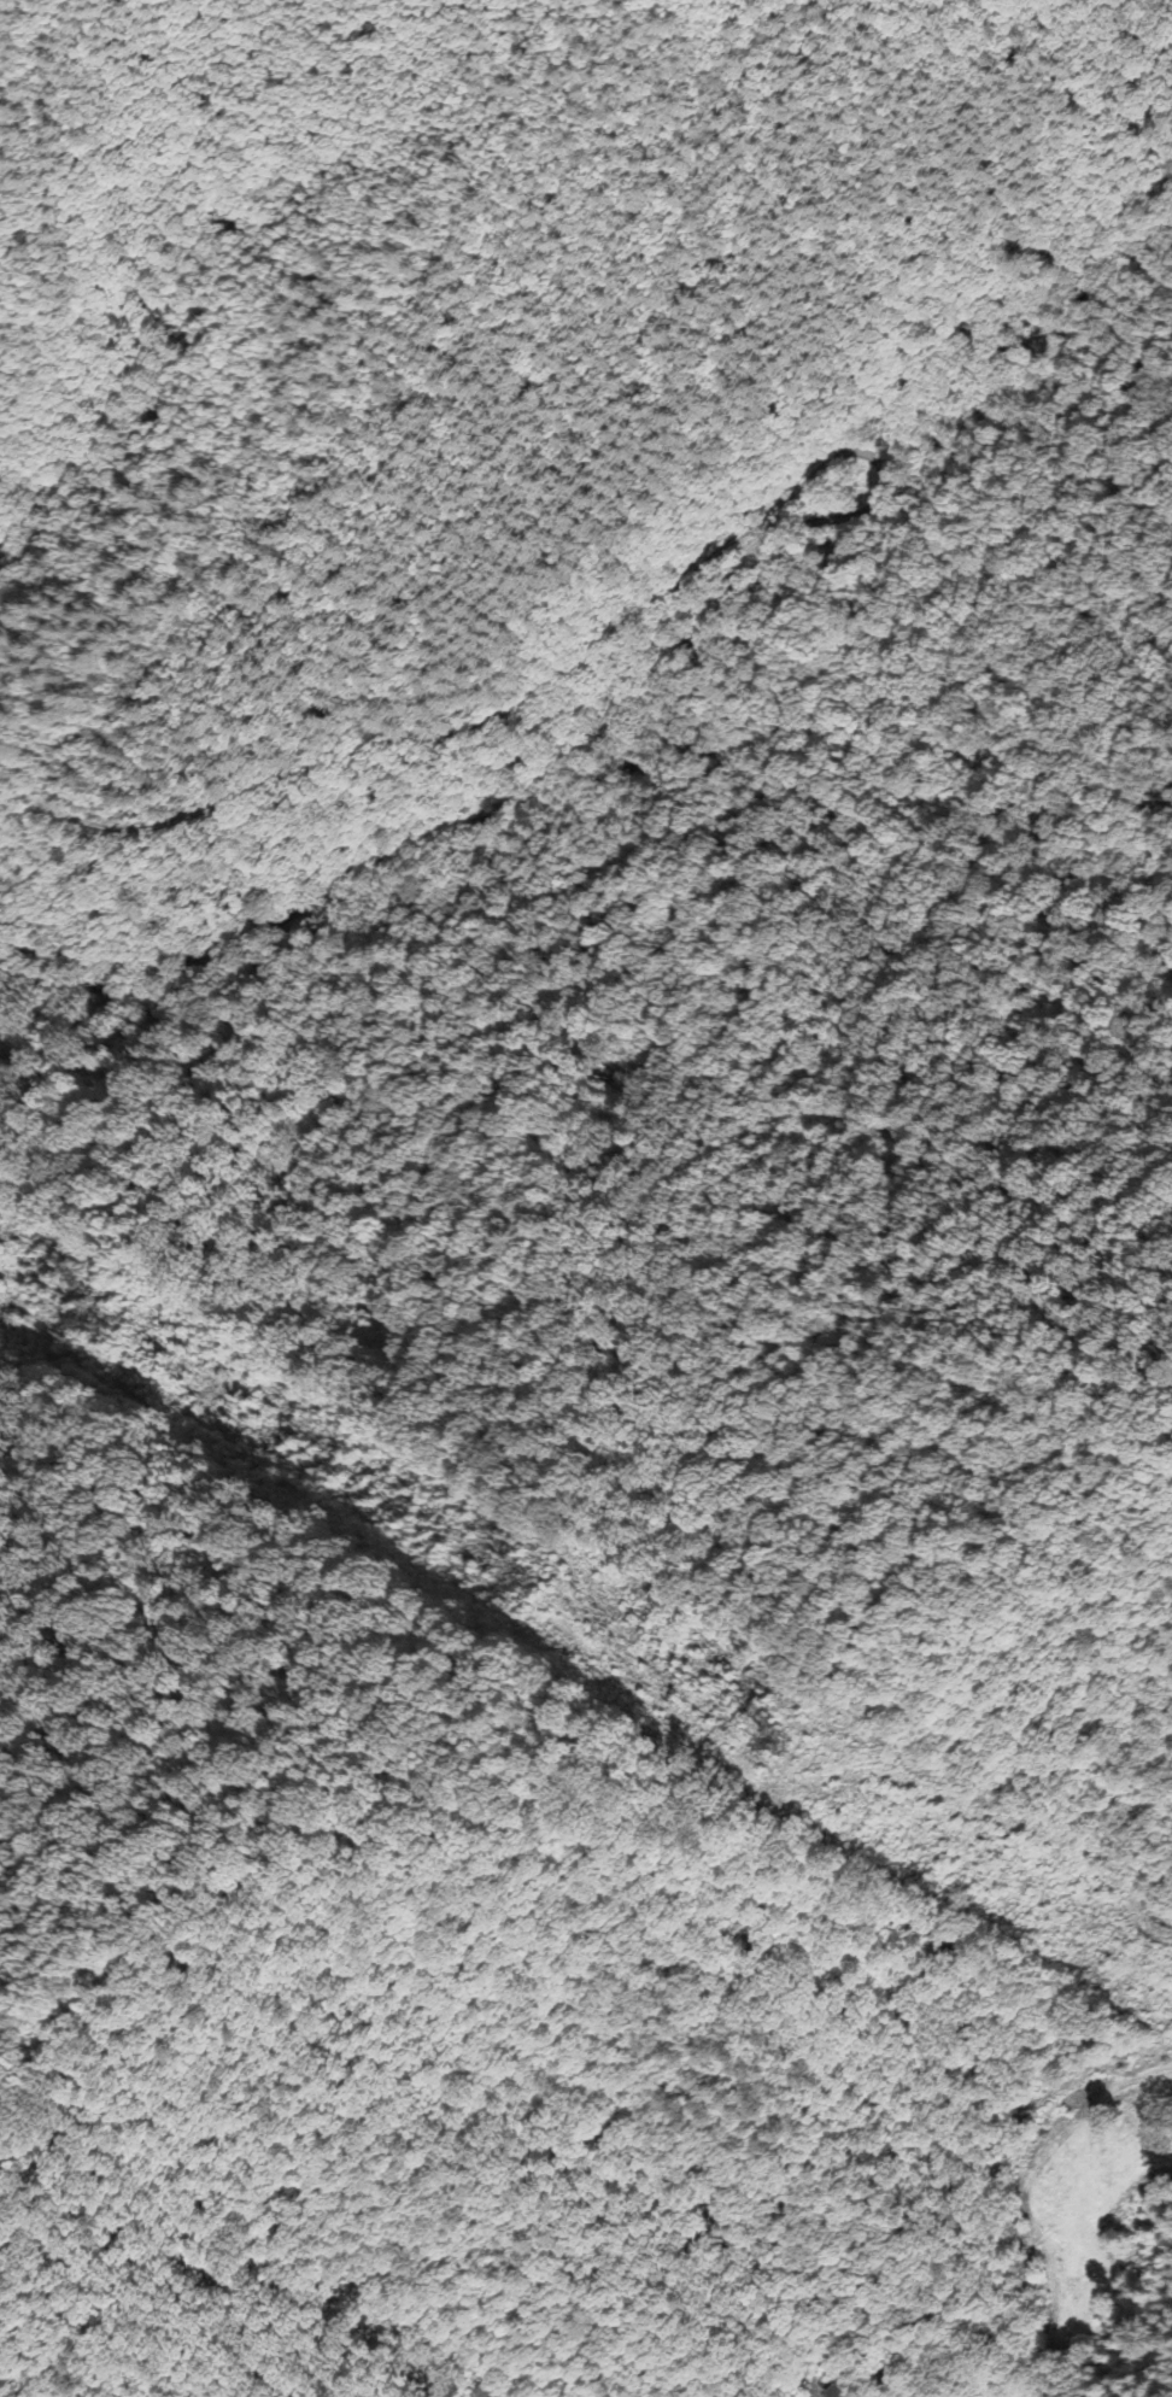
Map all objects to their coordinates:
power tower: (107, 1320)
power tower: (781, 1739)
building: (839, 2391)

